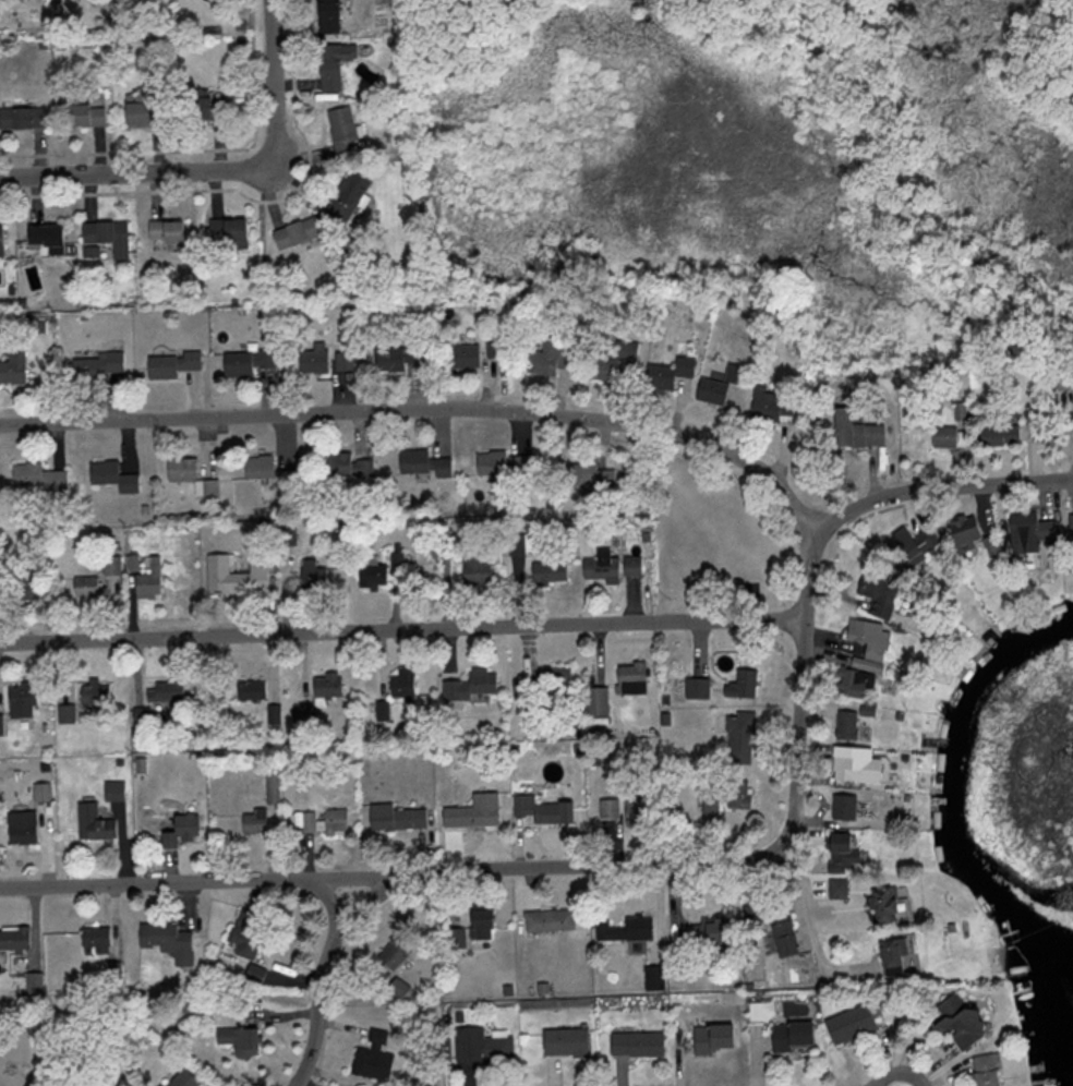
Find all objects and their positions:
building: (326, 15)
building: (331, 64)
road: (274, 84)
building: (141, 108)
building: (205, 109)
building: (84, 116)
building: (22, 119)
building: (341, 131)
park: (758, 167)
road: (131, 173)
road: (891, 182)
building: (346, 196)
building: (293, 232)
building: (166, 233)
building: (226, 233)
building: (106, 236)
building: (44, 238)
building: (0, 239)
building: (494, 350)
building: (624, 350)
building: (461, 357)
building: (398, 358)
building: (548, 359)
building: (310, 361)
building: (342, 361)
building: (244, 362)
building: (169, 364)
building: (93, 366)
building: (600, 370)
building: (11, 372)
building: (666, 373)
building: (1063, 378)
building: (718, 386)
building: (769, 405)
road: (431, 410)
building: (853, 431)
building: (998, 434)
building: (947, 437)
building: (420, 464)
building: (343, 466)
building: (256, 467)
building: (498, 467)
building: (36, 476)
building: (111, 476)
building: (588, 476)
building: (190, 478)
building: (963, 531)
building: (1027, 532)
building: (990, 545)
building: (907, 546)
building: (398, 560)
building: (475, 566)
building: (600, 567)
building: (630, 567)
building: (547, 572)
building: (370, 575)
building: (233, 576)
building: (311, 576)
building: (147, 579)
building: (0, 584)
building: (26, 584)
building: (84, 587)
building: (877, 589)
road: (405, 629)
building: (868, 638)
building: (629, 678)
building: (400, 683)
building: (540, 684)
building: (848, 684)
building: (469, 685)
building: (740, 685)
building: (325, 686)
building: (695, 688)
building: (250, 690)
building: (166, 691)
building: (94, 697)
building: (21, 700)
building: (595, 701)
building: (64, 713)
building: (301, 715)
building: (138, 716)
building: (844, 722)
building: (0, 725)
building: (738, 738)
building: (855, 767)
building: (112, 792)
building: (725, 796)
building: (607, 808)
building: (842, 808)
building: (541, 810)
building: (635, 810)
building: (472, 812)
building: (395, 819)
building: (324, 822)
building: (252, 823)
building: (21, 829)
building: (96, 830)
building: (180, 830)
building: (840, 853)
road: (750, 857)
road: (180, 882)
road: (806, 902)
building: (887, 905)
building: (547, 921)
building: (479, 926)
building: (624, 929)
building: (706, 932)
building: (241, 937)
building: (782, 937)
building: (16, 938)
building: (99, 939)
building: (451, 939)
building: (167, 942)
building: (395, 952)
building: (891, 956)
building: (652, 979)
building: (399, 989)
building: (956, 1022)
building: (847, 1025)
building: (791, 1036)
building: (709, 1039)
building: (238, 1041)
building: (564, 1042)
building: (635, 1045)
building: (481, 1047)
building: (372, 1059)
building: (984, 1070)
building: (184, 1078)

